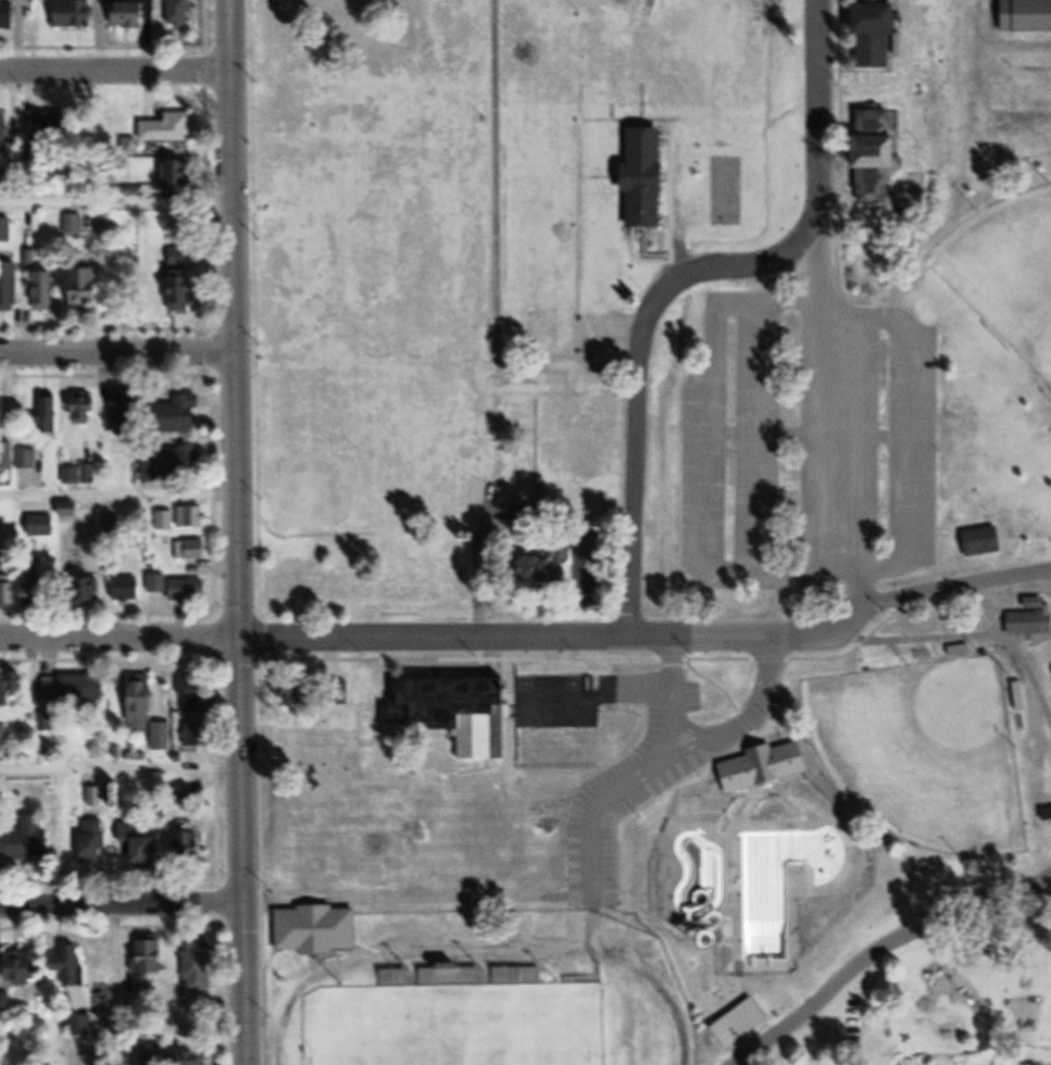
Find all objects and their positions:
building: (179, 13)
building: (75, 14)
building: (134, 14)
building: (9, 15)
building: (1022, 16)
building: (863, 33)
road: (117, 68)
road: (824, 116)
building: (170, 129)
building: (5, 130)
building: (863, 154)
building: (180, 175)
building: (635, 179)
road: (118, 204)
building: (74, 225)
building: (7, 231)
road: (699, 267)
park: (1006, 277)
building: (180, 281)
building: (10, 288)
building: (92, 290)
building: (47, 291)
road: (120, 348)
building: (126, 408)
building: (7, 410)
building: (86, 411)
building: (185, 414)
building: (50, 416)
road: (838, 421)
road: (811, 435)
road: (908, 439)
road: (754, 441)
parking lot: (808, 446)
park: (710, 447)
road: (712, 458)
building: (183, 461)
road: (118, 500)
road: (636, 502)
building: (192, 517)
building: (166, 521)
building: (112, 525)
building: (42, 526)
road: (237, 532)
building: (975, 543)
building: (192, 550)
building: (546, 571)
building: (159, 584)
building: (127, 589)
building: (9, 590)
building: (189, 590)
road: (956, 590)
building: (35, 591)
building: (89, 591)
building: (1026, 621)
road: (436, 640)
building: (11, 688)
building: (75, 688)
building: (297, 689)
road: (676, 699)
road: (762, 705)
building: (146, 711)
building: (456, 712)
building: (197, 736)
building: (4, 738)
road: (671, 742)
park: (924, 754)
road: (121, 770)
building: (1043, 815)
building: (23, 838)
building: (92, 843)
building: (193, 847)
building: (147, 851)
building: (701, 887)
road: (531, 901)
road: (122, 907)
road: (880, 950)
building: (152, 957)
building: (71, 965)
building: (23, 966)
building: (200, 966)
building: (450, 975)
building: (518, 976)
road: (117, 983)
park: (472, 989)
building: (260, 1003)
building: (4, 1007)
parking lot: (824, 1023)
building: (80, 1026)
building: (193, 1058)

